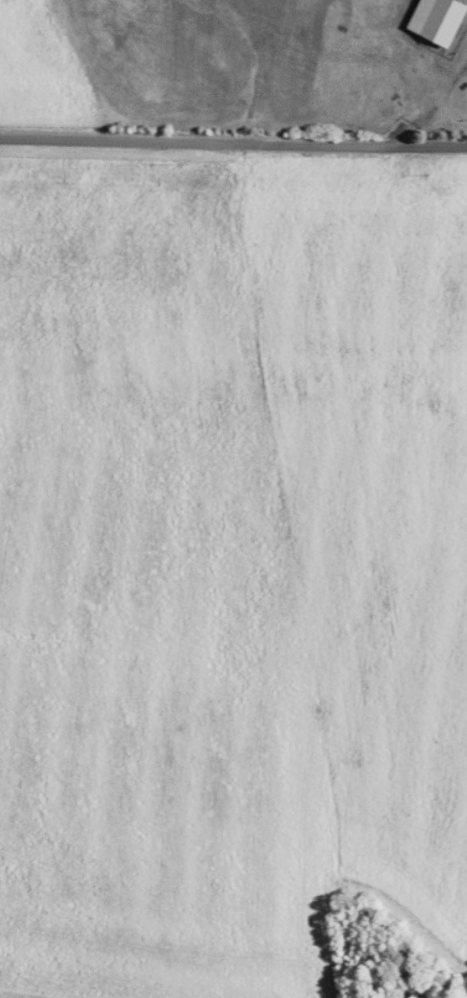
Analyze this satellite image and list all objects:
building: (438, 20)
road: (233, 146)

